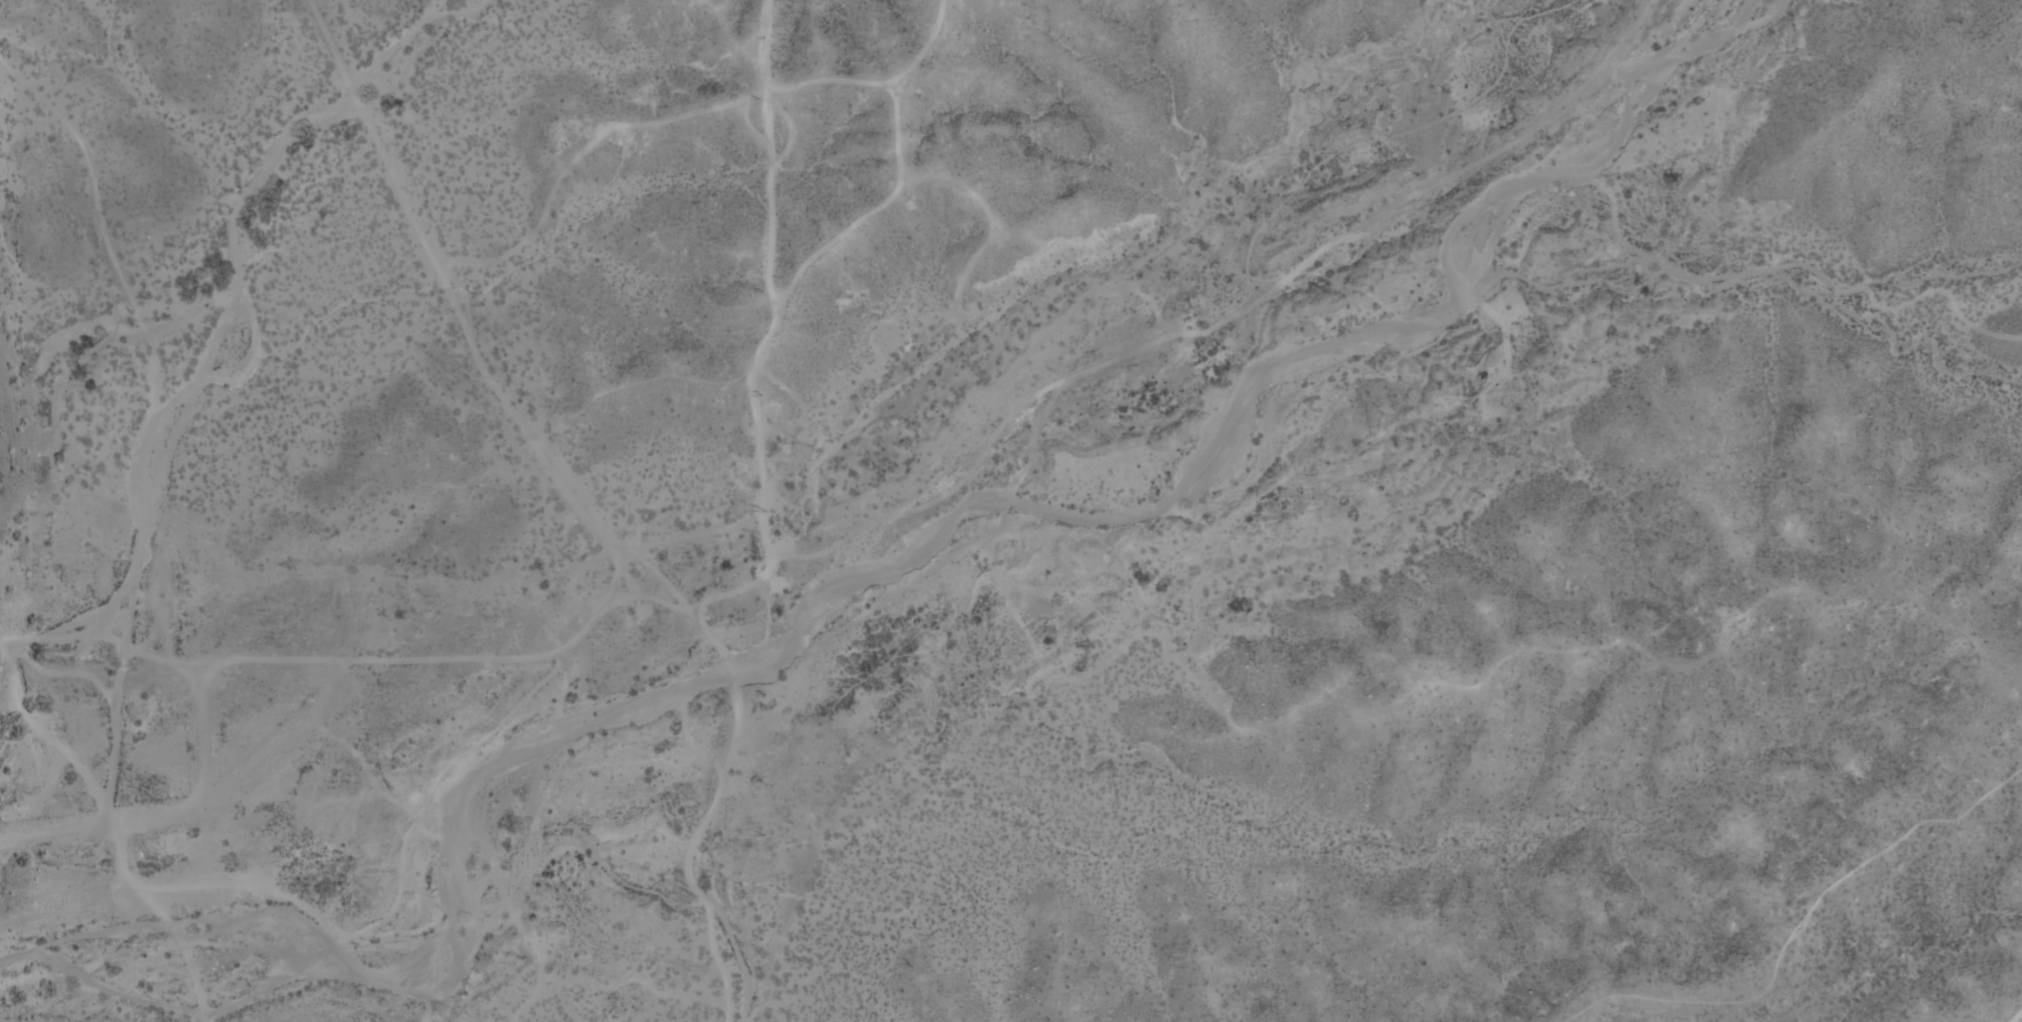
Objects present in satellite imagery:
road: (778, 309)
road: (686, 849)
road: (2015, 1014)

